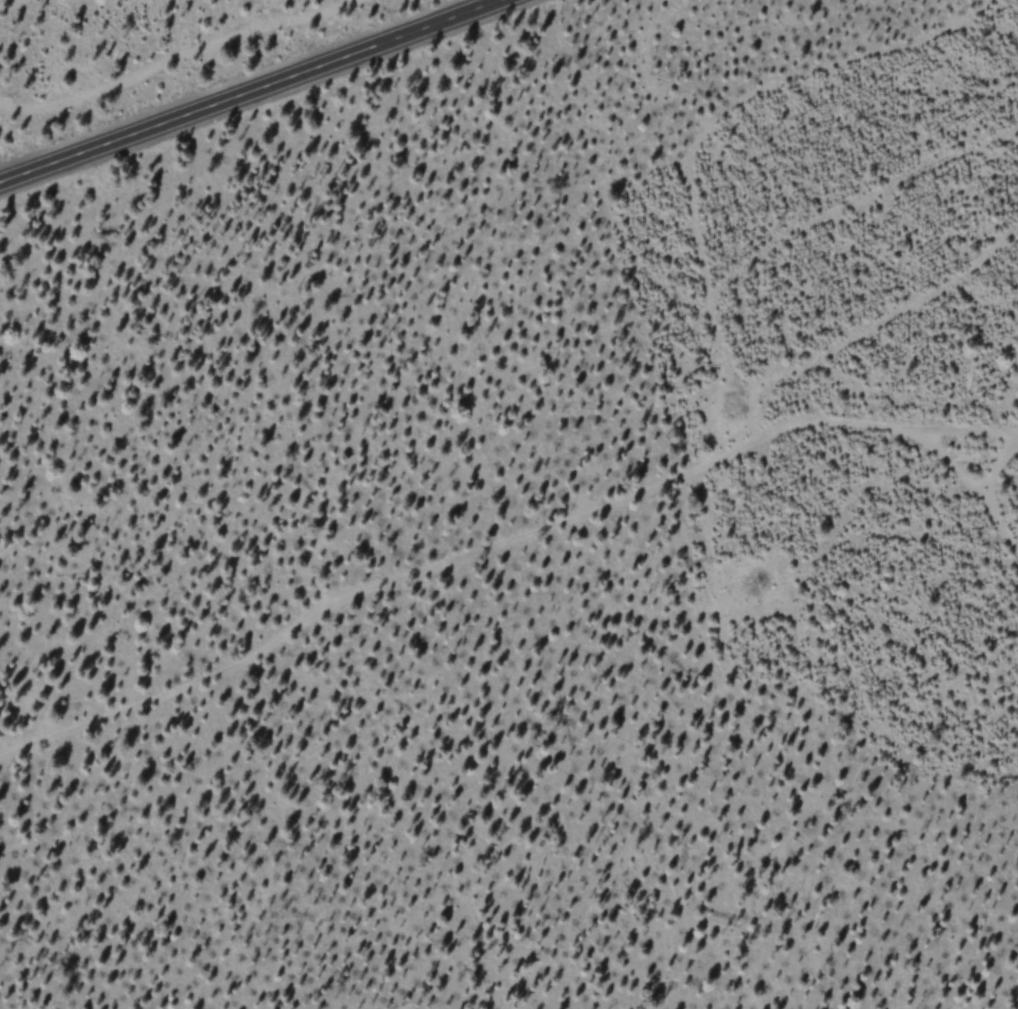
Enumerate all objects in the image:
road: (251, 91)
road: (970, 503)
road: (494, 543)

